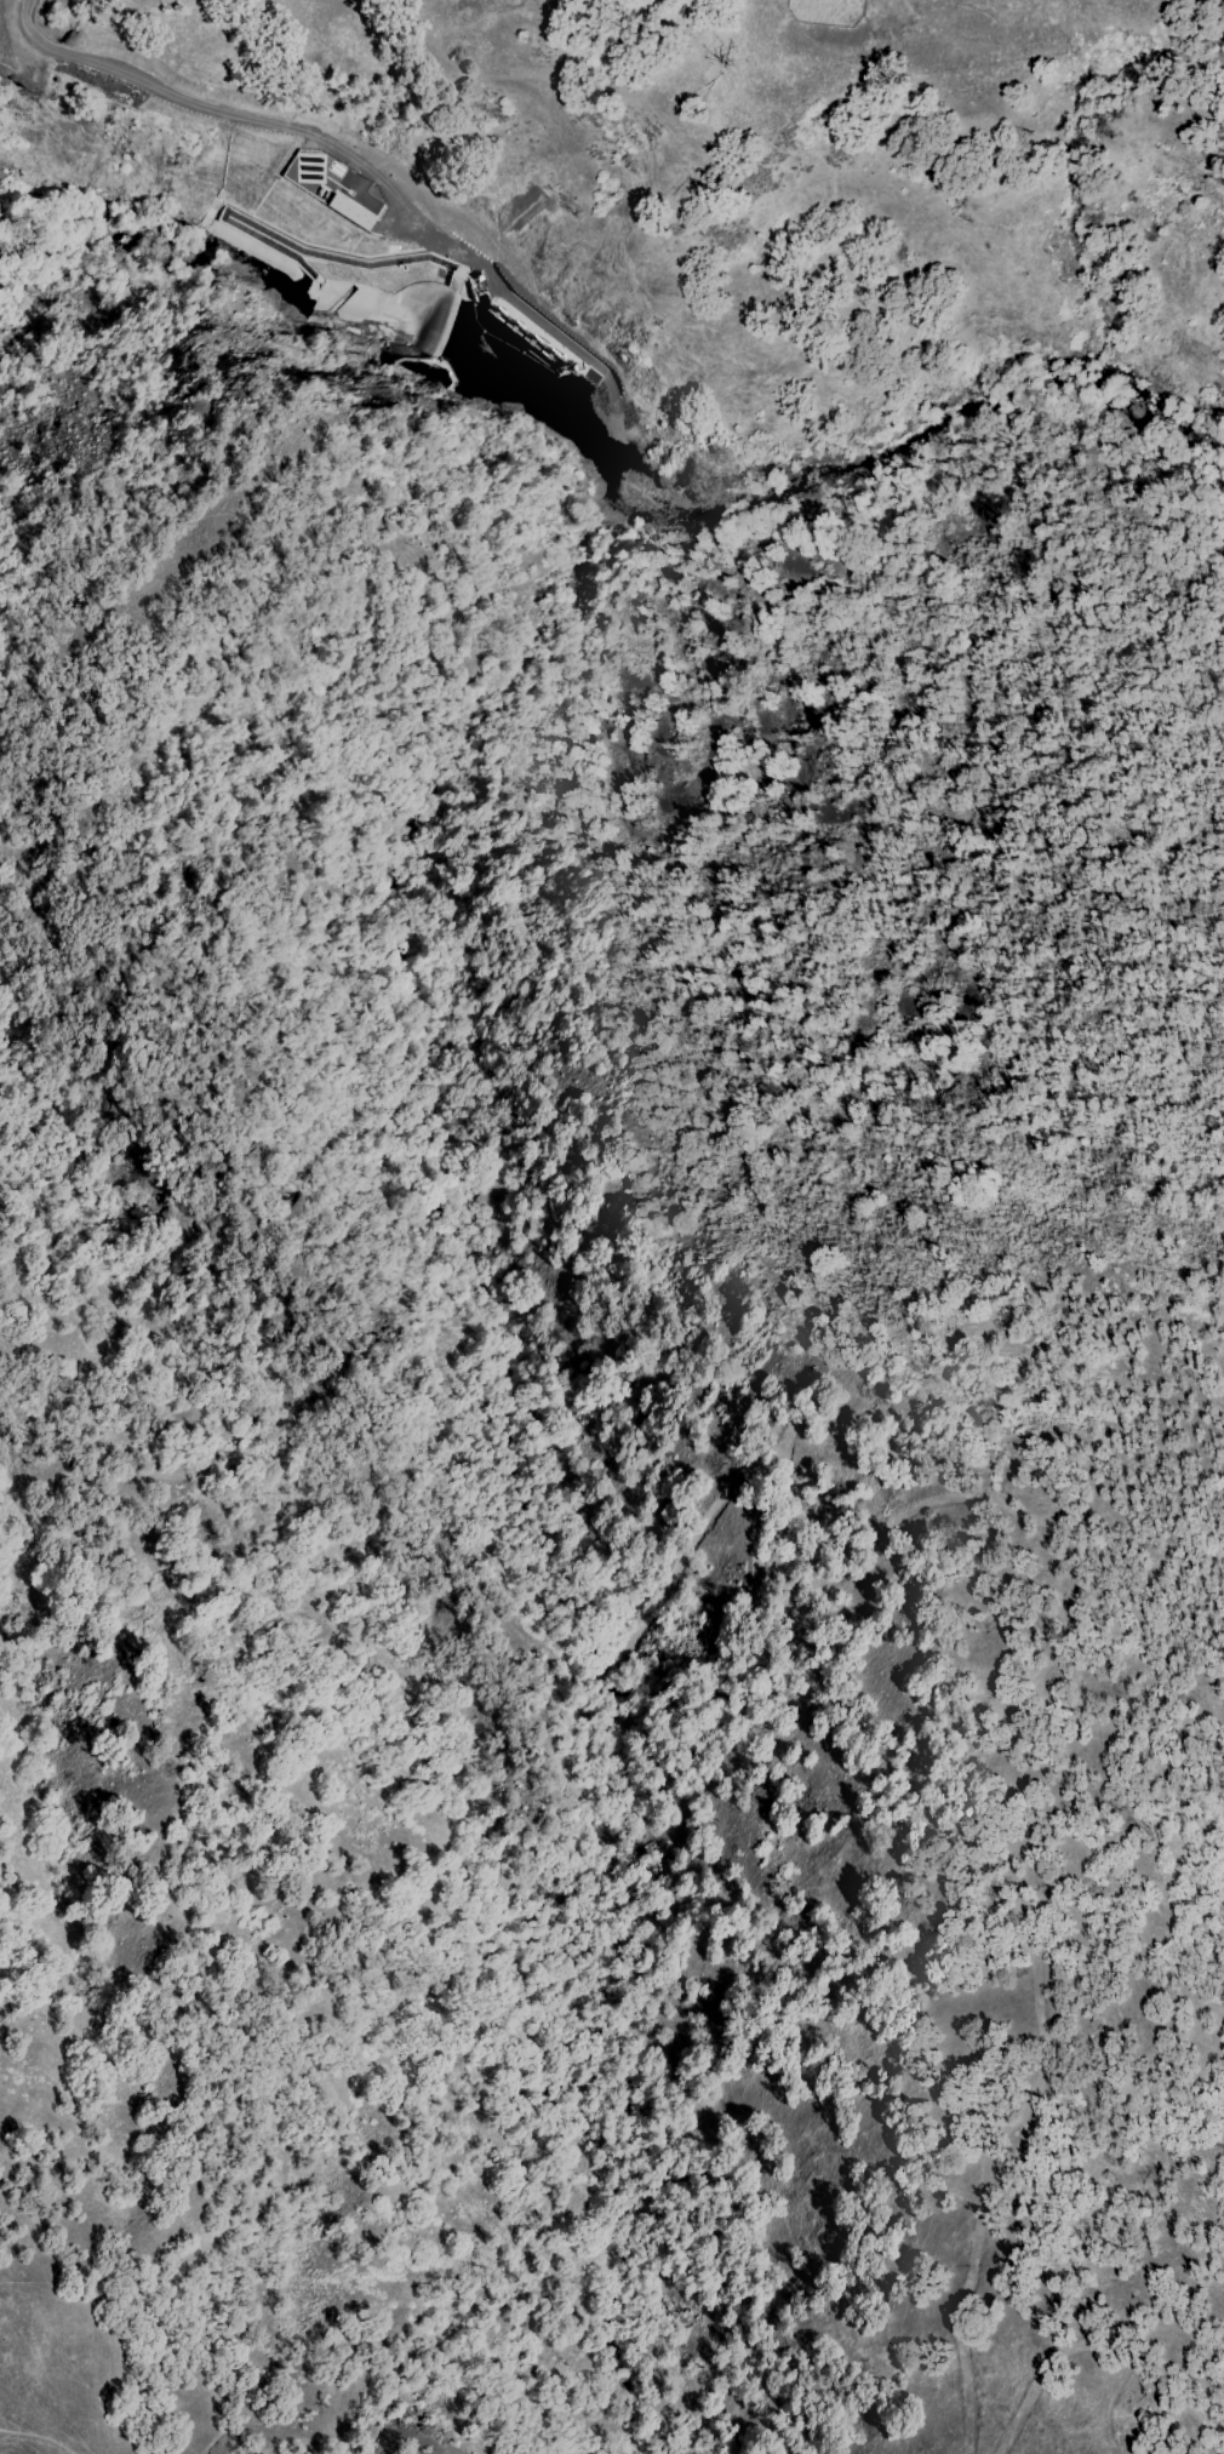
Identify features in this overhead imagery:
road: (216, 115)
building: (347, 211)
river: (227, 273)
dam: (404, 330)
river: (498, 370)
river: (583, 440)

